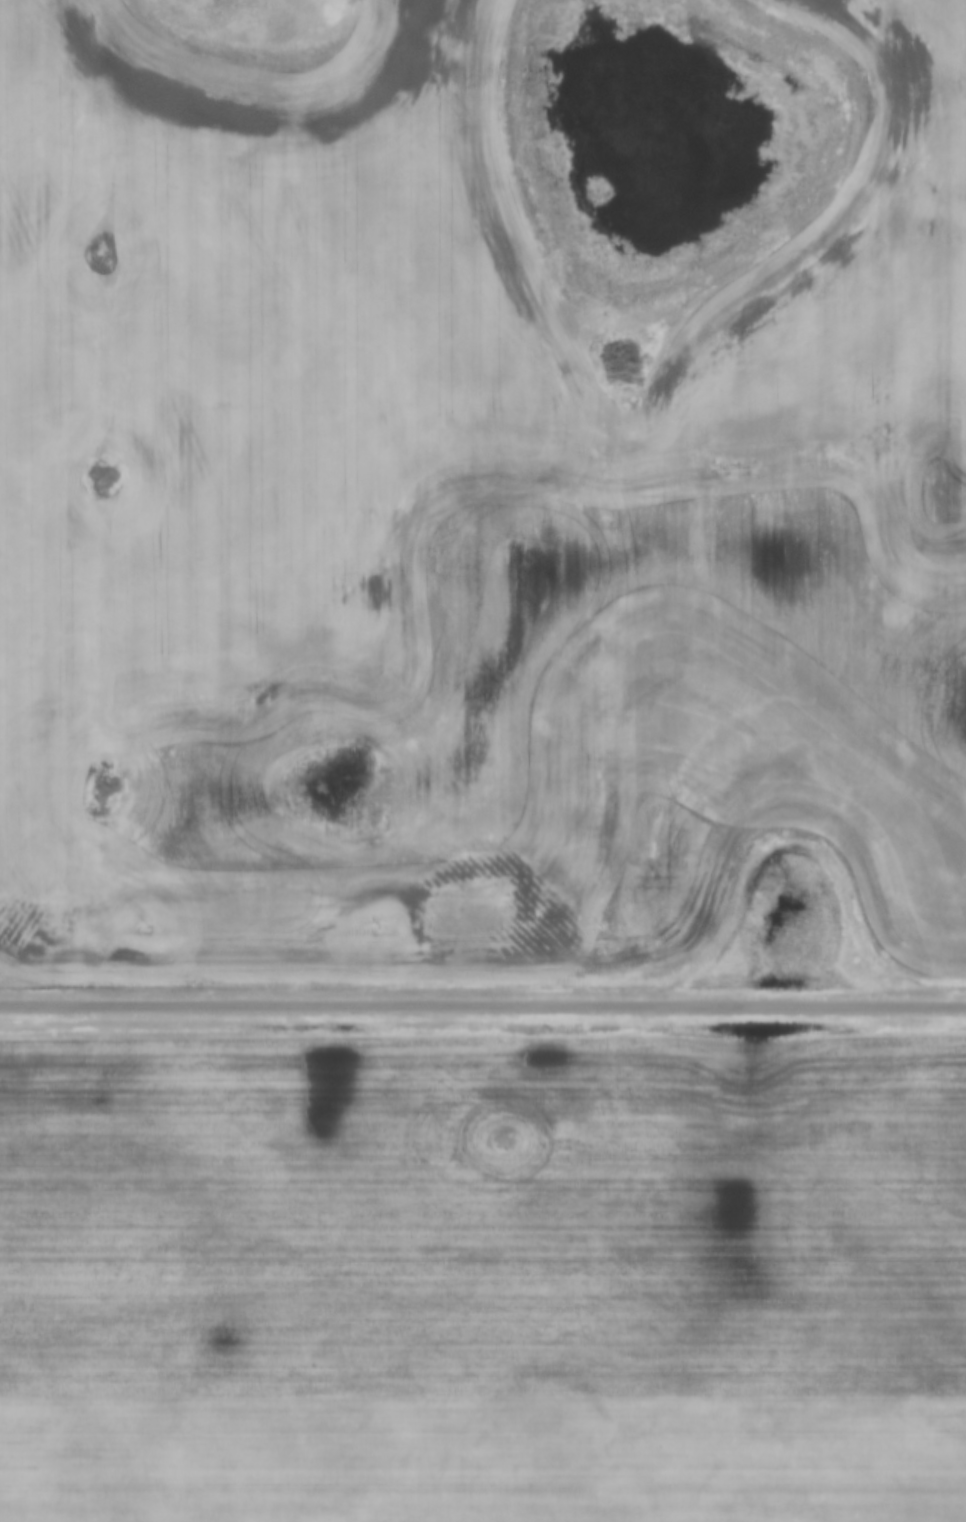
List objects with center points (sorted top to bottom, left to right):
road: (483, 1002)

